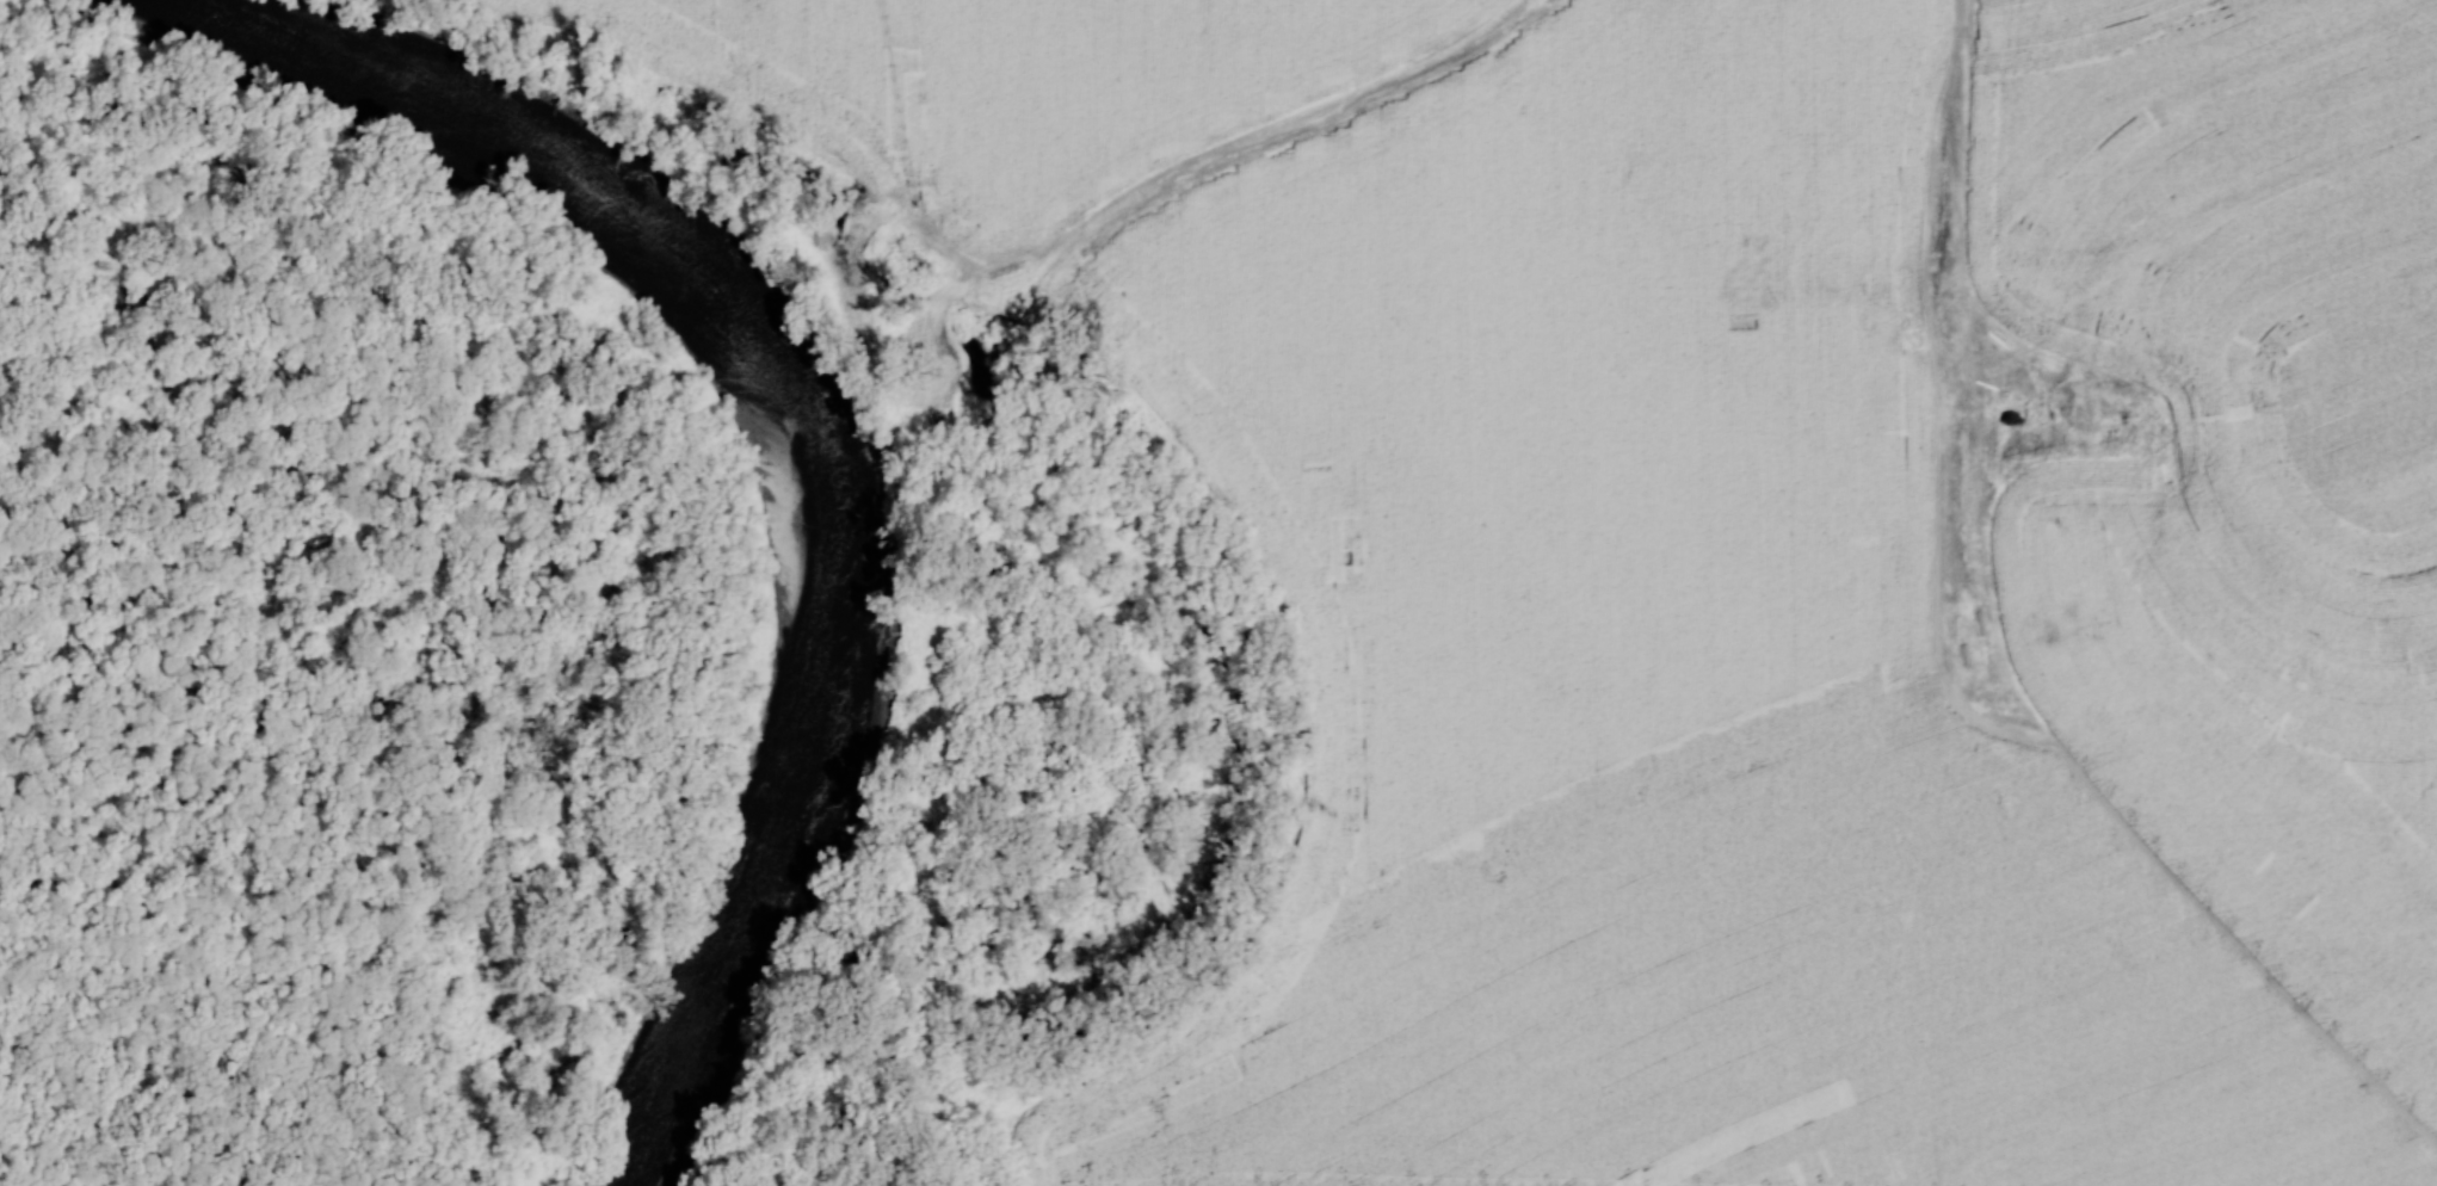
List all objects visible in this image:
river: (784, 436)

